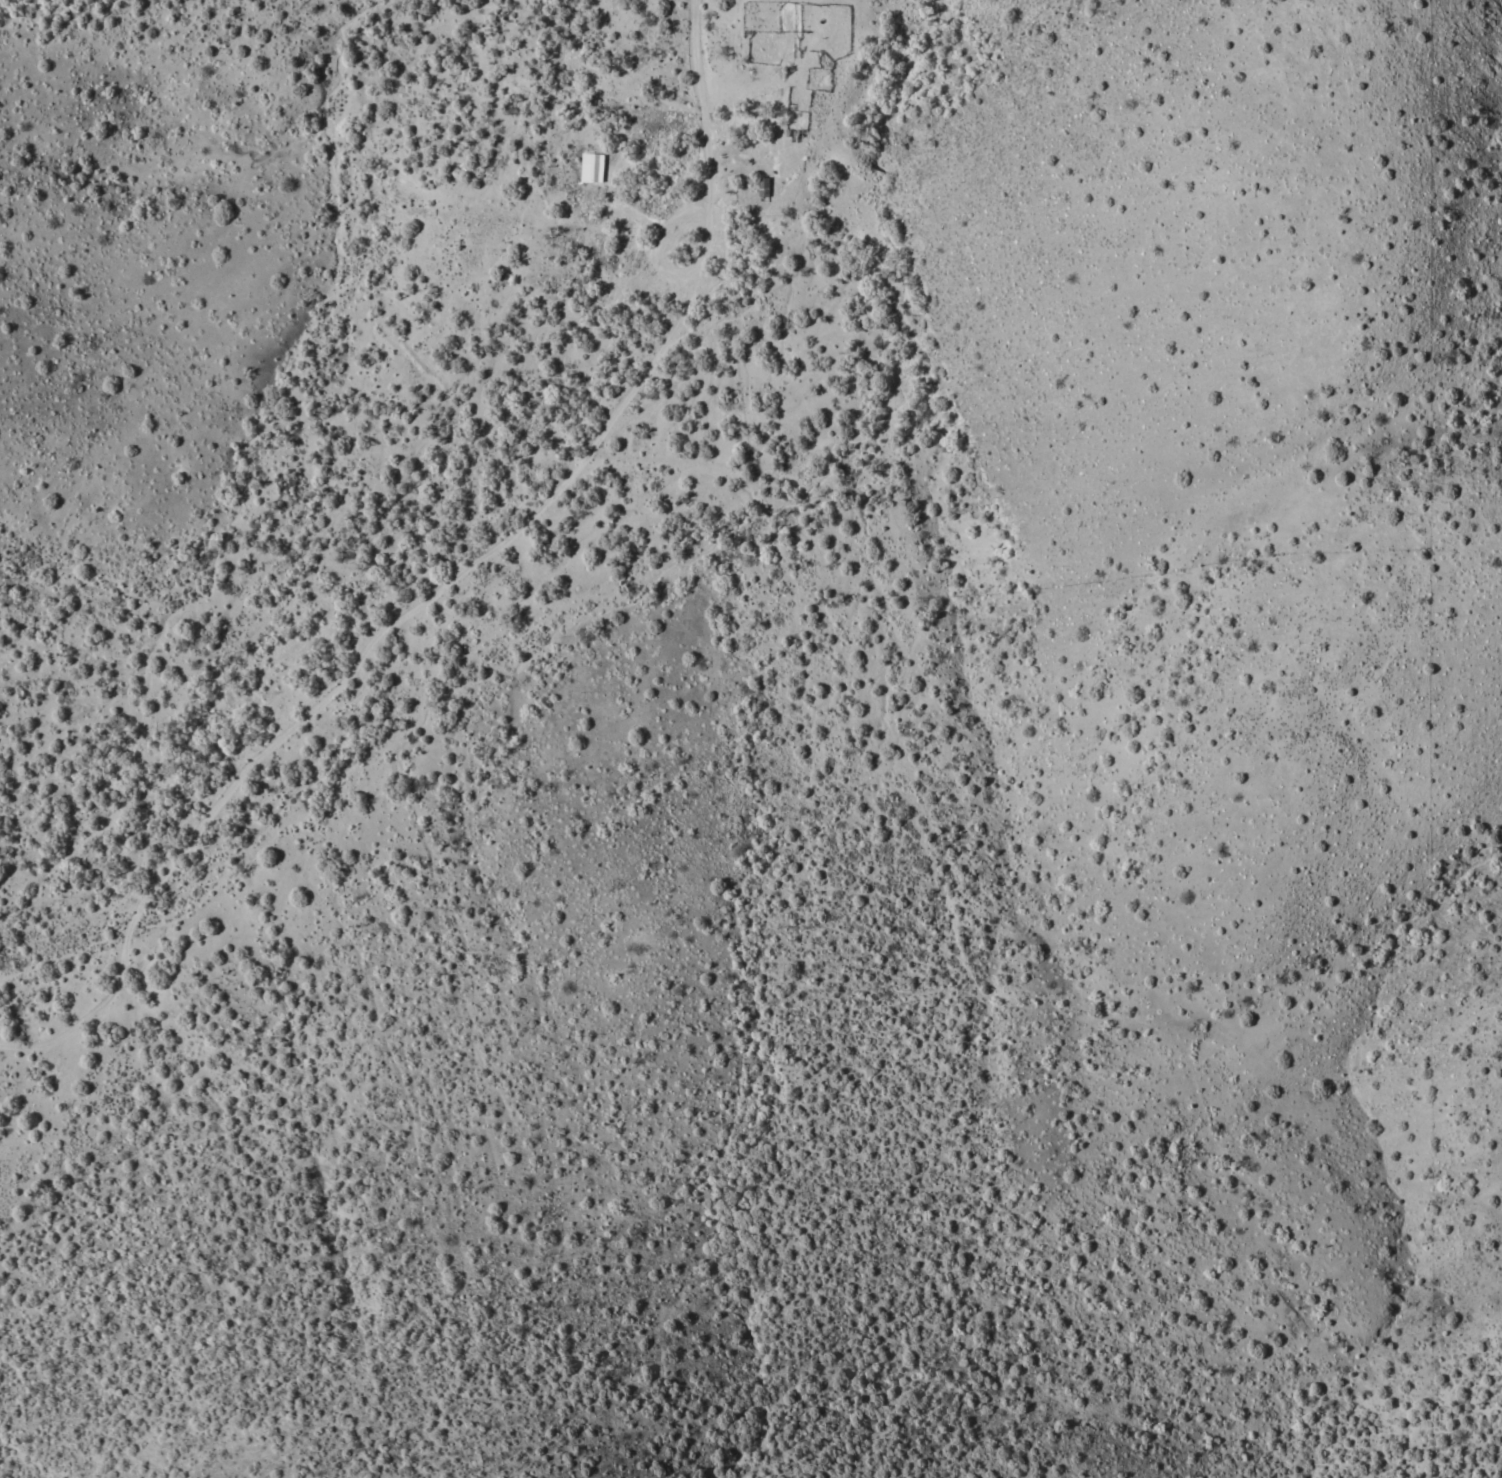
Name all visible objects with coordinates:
building: (790, 129)
building: (588, 163)
dam: (876, 166)
building: (761, 180)
building: (670, 238)
road: (445, 575)

